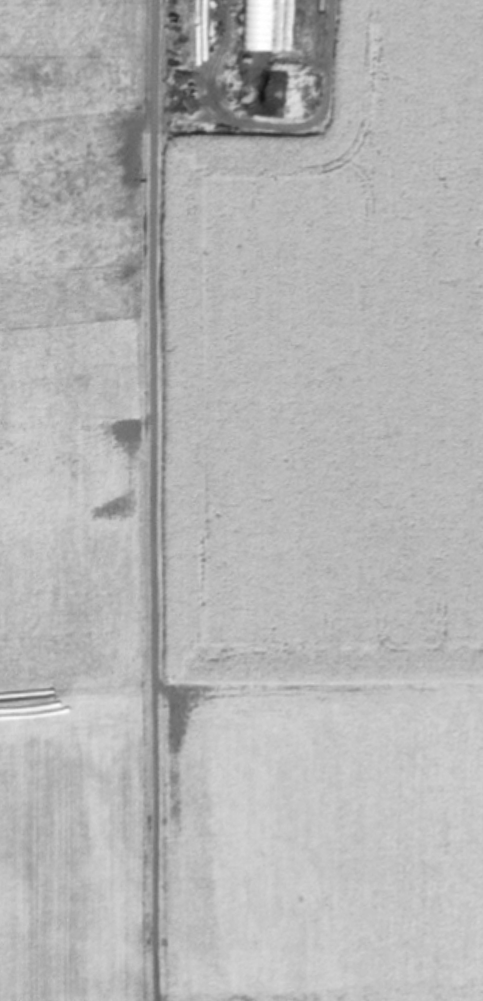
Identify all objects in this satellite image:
building: (260, 25)

